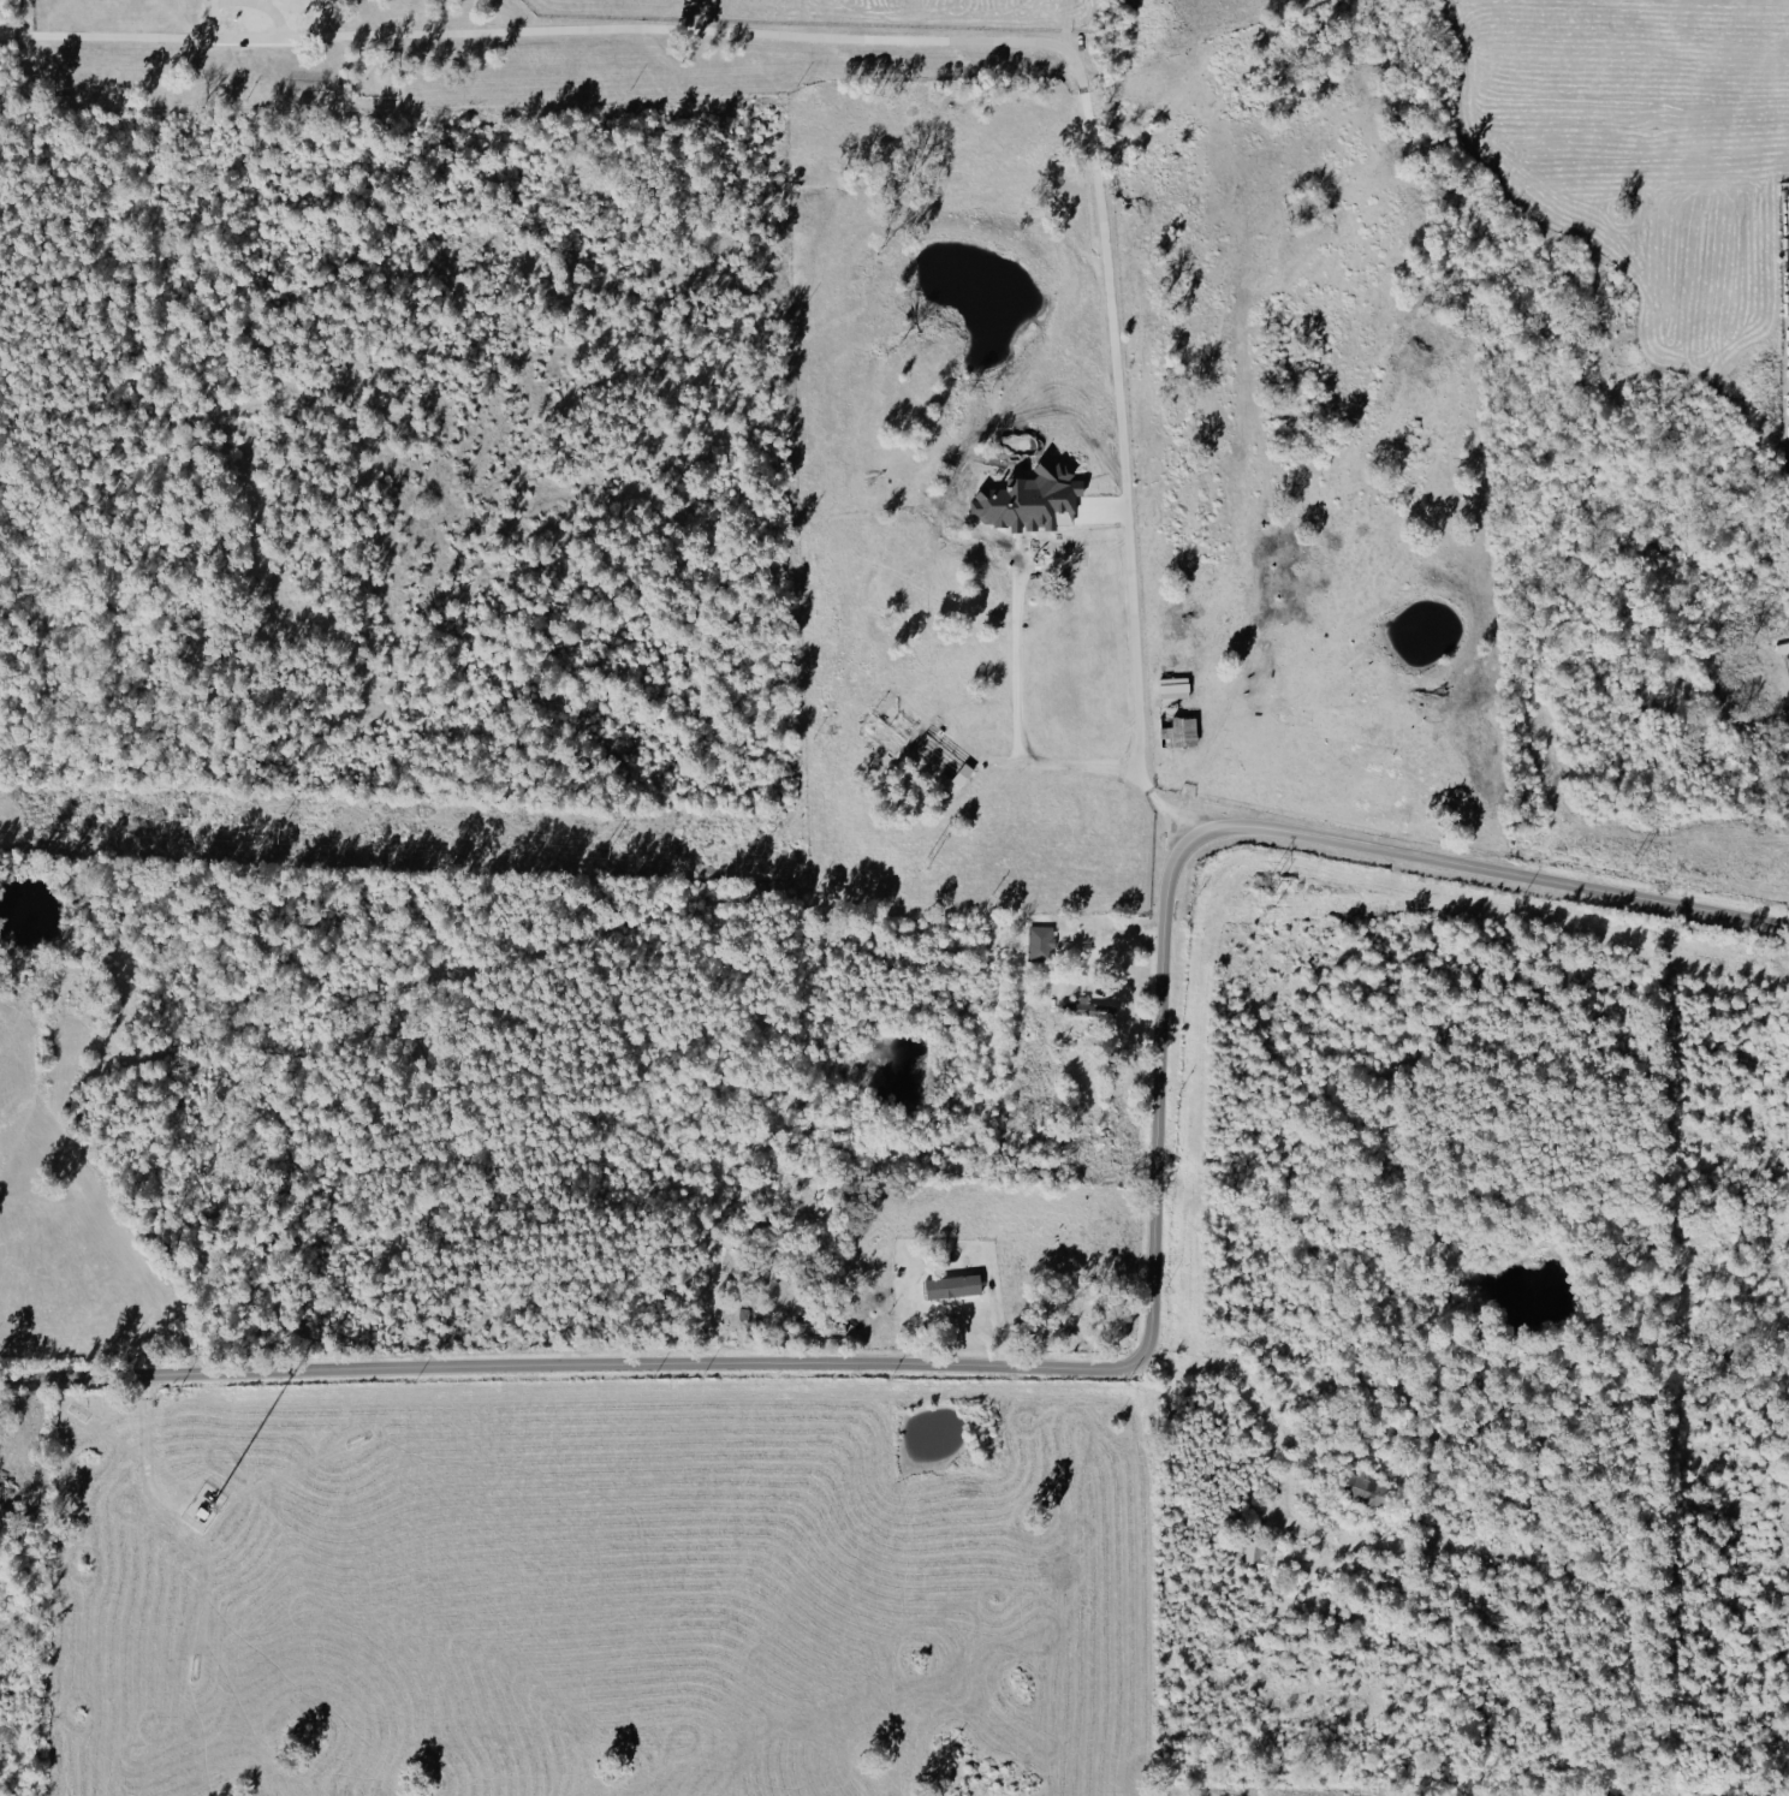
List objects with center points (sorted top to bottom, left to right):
road: (938, 46)
building: (1173, 688)
building: (1177, 731)
building: (941, 760)
road: (1069, 766)
power tower: (258, 828)
power tower: (610, 845)
power tower: (1632, 855)
power tower: (915, 869)
building: (1040, 942)
building: (1086, 1009)
building: (951, 1286)
road: (1136, 1350)
building: (1363, 1488)

